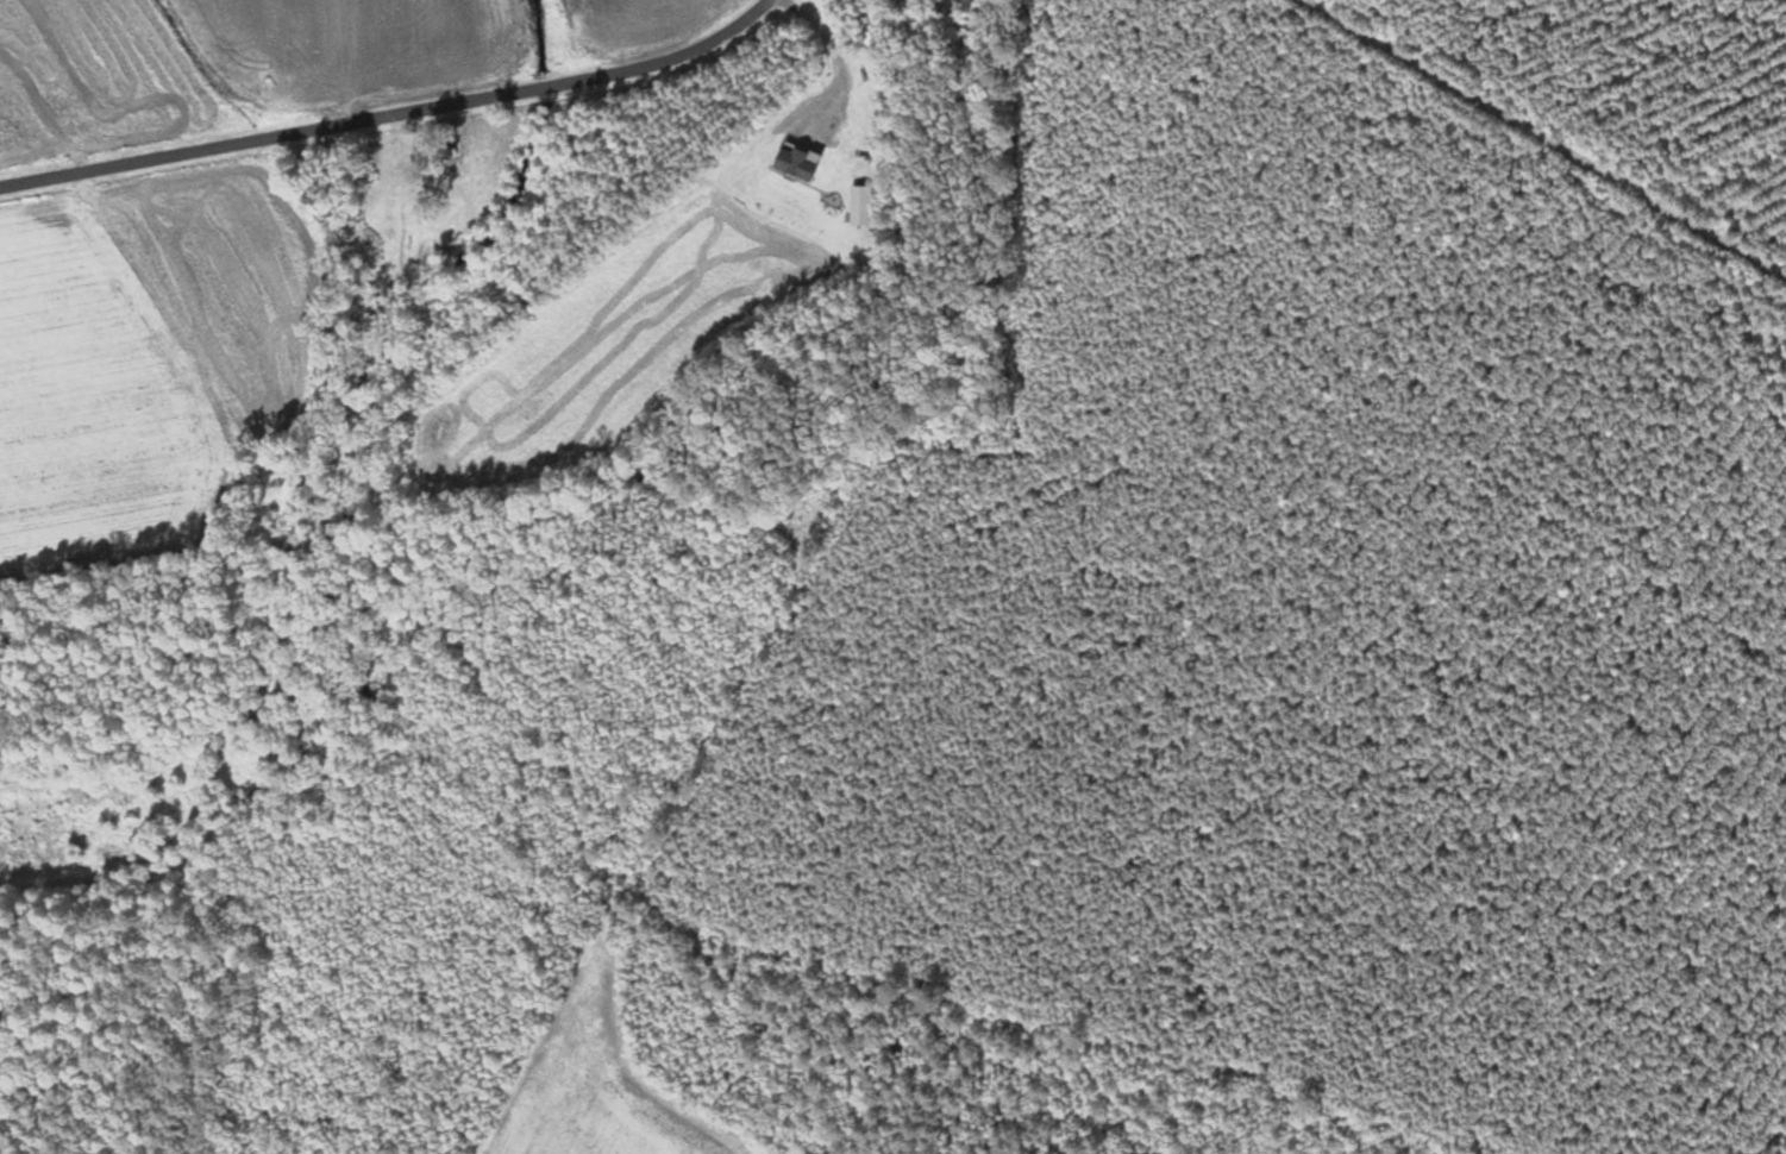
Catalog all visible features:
road: (390, 112)
road: (1541, 140)

